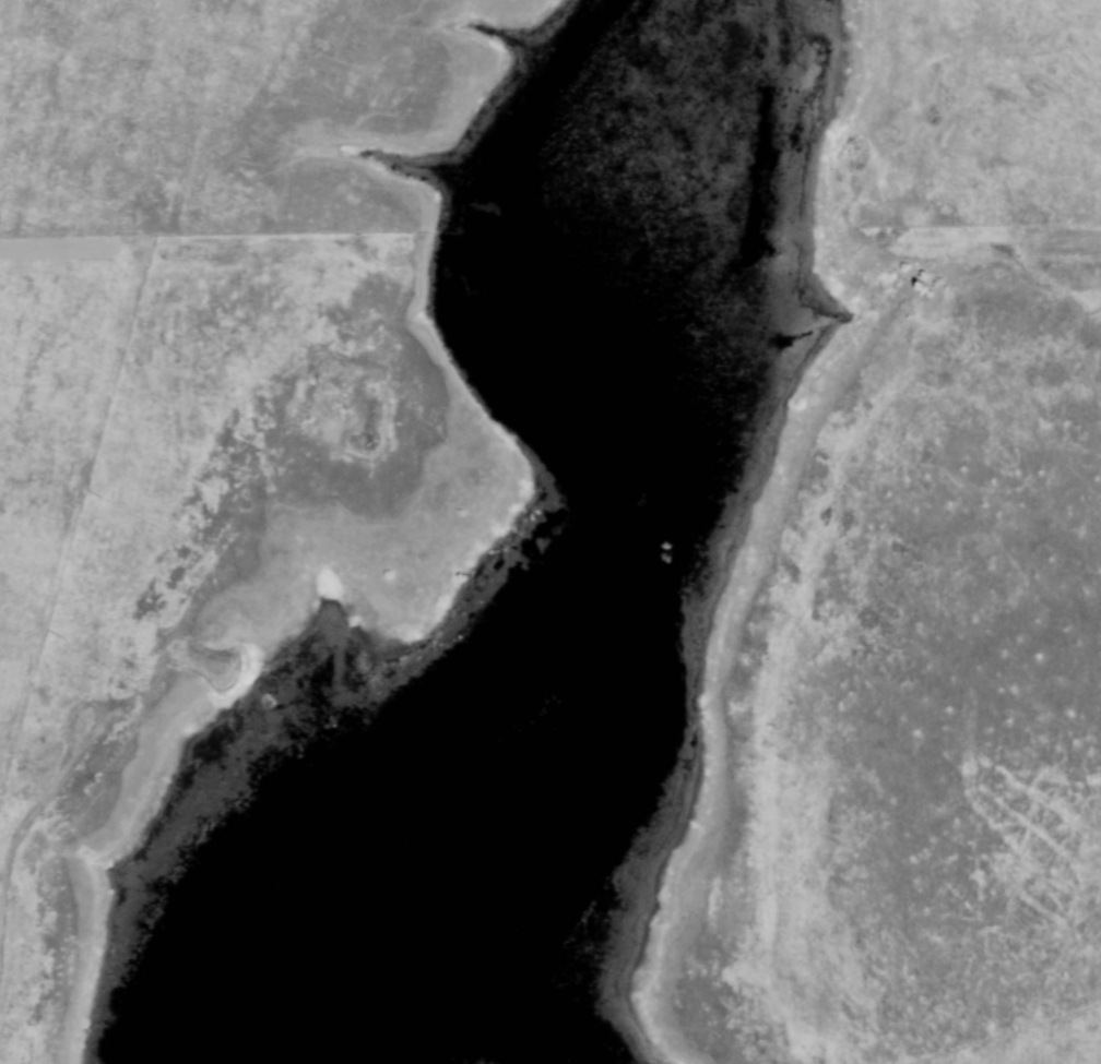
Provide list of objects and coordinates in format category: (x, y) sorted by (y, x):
airport: (553, 653)
road: (12, 845)

